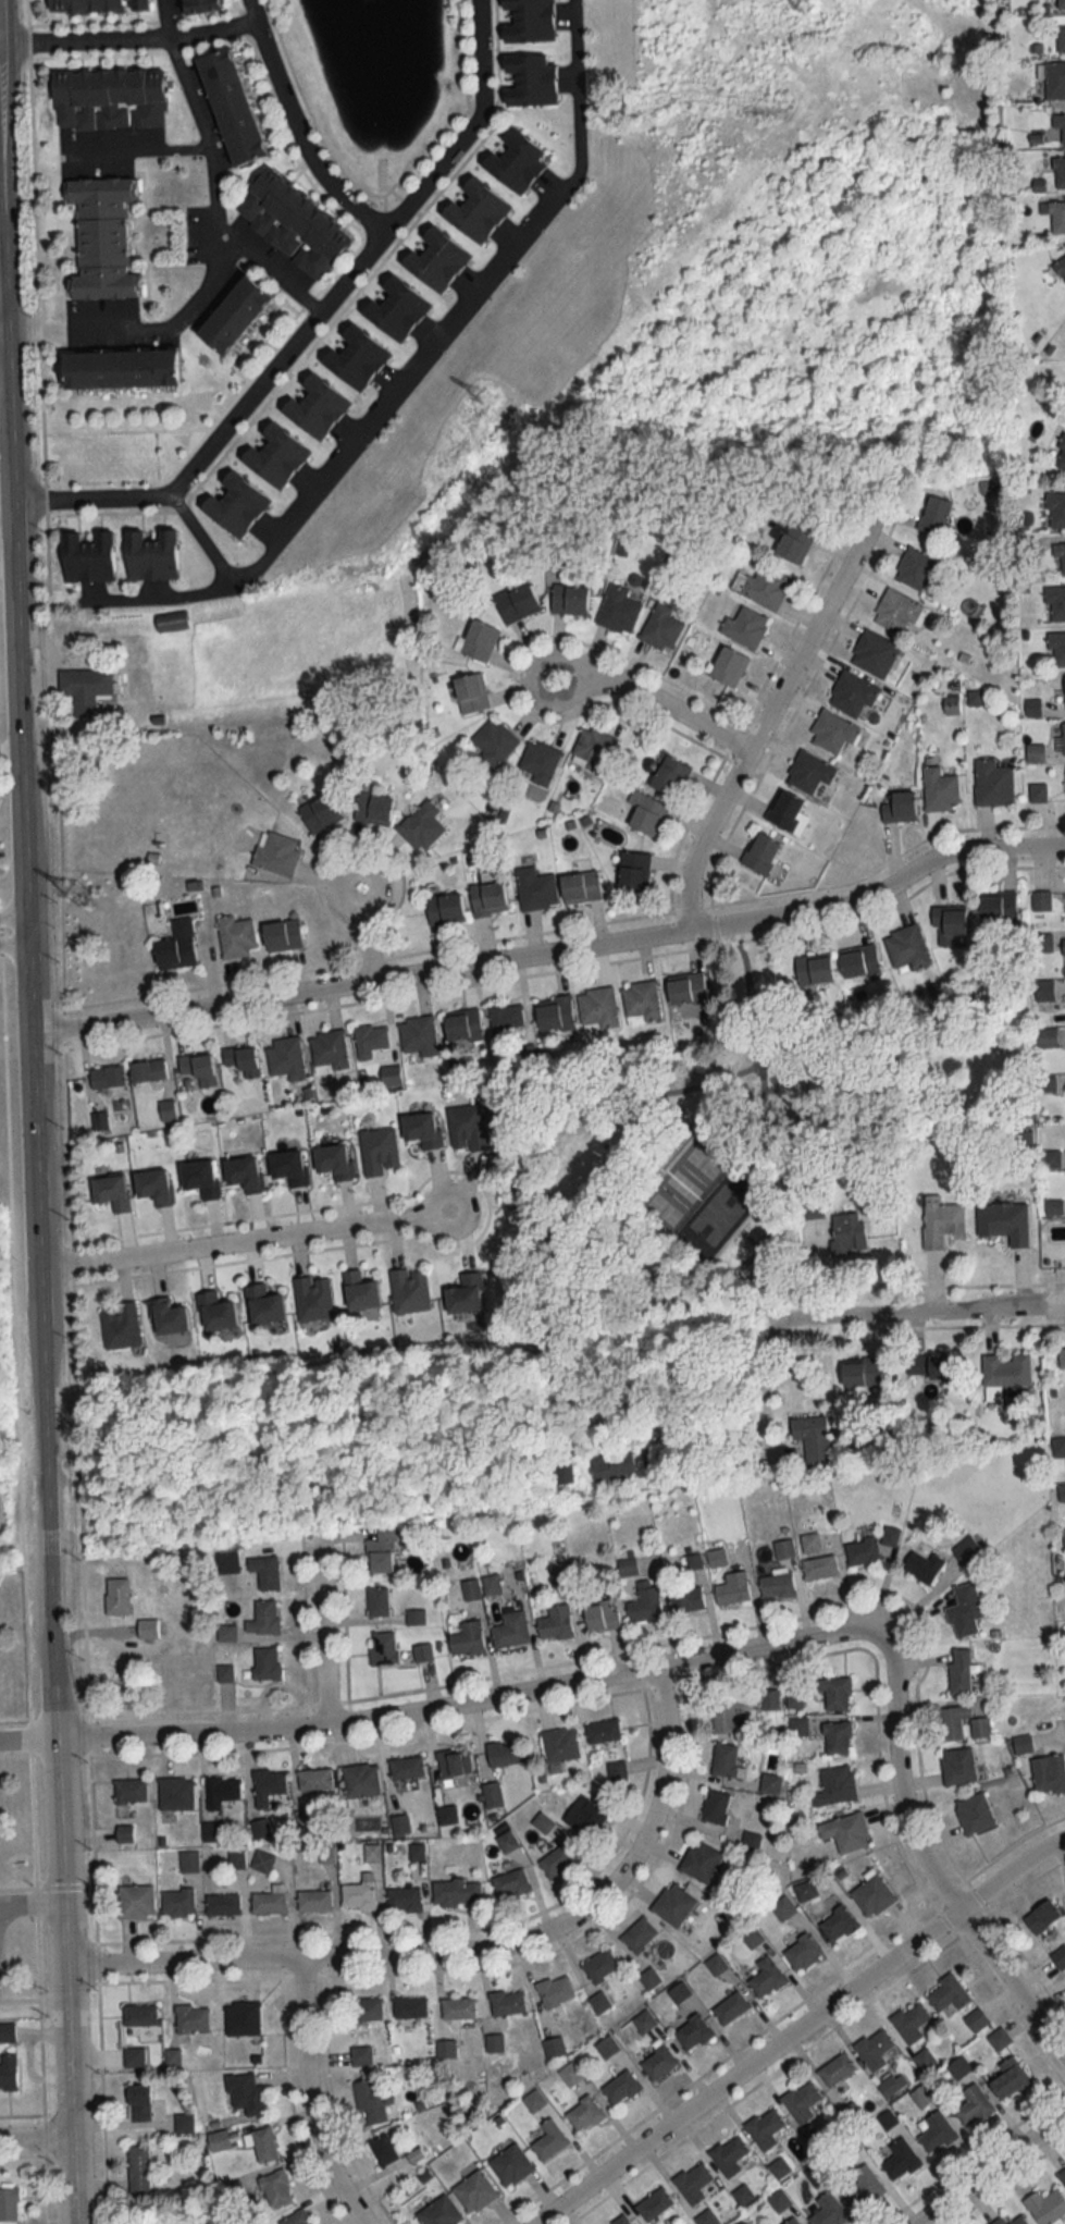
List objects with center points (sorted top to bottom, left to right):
building: (1061, 4)
building: (96, 5)
building: (199, 5)
power tower: (808, 9)
road: (168, 17)
building: (528, 21)
road: (131, 36)
building: (1061, 38)
building: (531, 81)
building: (1053, 81)
building: (109, 98)
building: (232, 107)
building: (1060, 124)
road: (301, 130)
road: (205, 133)
road: (140, 148)
building: (515, 158)
building: (1060, 171)
building: (475, 209)
building: (1057, 217)
building: (293, 222)
building: (101, 236)
building: (435, 257)
building: (1061, 267)
road: (270, 272)
building: (395, 307)
road: (2, 308)
building: (233, 312)
road: (313, 319)
road: (175, 321)
building: (354, 356)
building: (120, 366)
road: (413, 371)
power tower: (485, 400)
building: (313, 404)
building: (274, 453)
building: (1060, 455)
building: (234, 503)
building: (1055, 509)
building: (933, 514)
road: (203, 537)
building: (793, 541)
building: (150, 554)
building: (87, 556)
building: (1060, 560)
building: (916, 569)
building: (764, 586)
building: (568, 598)
building: (516, 601)
building: (1056, 603)
building: (617, 609)
building: (897, 611)
building: (744, 626)
building: (660, 627)
building: (478, 639)
building: (1057, 648)
building: (874, 653)
building: (728, 666)
road: (594, 672)
building: (85, 687)
building: (470, 691)
building: (852, 693)
road: (767, 718)
building: (832, 730)
building: (1063, 737)
building: (494, 742)
building: (592, 749)
building: (540, 761)
building: (808, 772)
building: (669, 776)
building: (992, 783)
building: (939, 789)
building: (373, 807)
building: (899, 807)
building: (320, 812)
building: (787, 812)
building: (645, 813)
building: (421, 825)
building: (276, 853)
building: (759, 853)
building: (633, 870)
road: (383, 878)
building: (580, 886)
building: (535, 889)
power tower: (81, 894)
building: (487, 898)
building: (1040, 899)
building: (998, 905)
building: (444, 908)
road: (14, 922)
building: (949, 925)
building: (282, 934)
building: (235, 935)
building: (176, 945)
building: (1063, 946)
building: (906, 948)
road: (555, 949)
building: (859, 960)
building: (813, 969)
building: (685, 987)
building: (641, 1002)
building: (597, 1008)
building: (555, 1013)
building: (505, 1018)
building: (462, 1025)
building: (417, 1034)
building: (370, 1040)
building: (329, 1050)
building: (286, 1057)
building: (242, 1059)
building: (198, 1067)
building: (147, 1069)
building: (389, 1074)
building: (107, 1076)
building: (467, 1125)
building: (422, 1126)
building: (381, 1146)
park: (739, 1147)
building: (334, 1157)
building: (287, 1165)
building: (244, 1170)
building: (201, 1177)
building: (152, 1183)
building: (111, 1190)
road: (39, 1191)
building: (812, 1209)
building: (939, 1220)
building: (1004, 1221)
road: (296, 1231)
building: (847, 1232)
building: (360, 1287)
building: (408, 1288)
building: (465, 1289)
building: (312, 1293)
building: (260, 1302)
building: (214, 1307)
road: (917, 1311)
building: (165, 1313)
building: (119, 1324)
building: (1061, 1357)
road: (333, 1361)
building: (930, 1366)
building: (1005, 1371)
building: (860, 1373)
road: (767, 1401)
building: (809, 1439)
building: (612, 1465)
building: (564, 1475)
building: (890, 1537)
building: (1064, 1537)
building: (809, 1543)
building: (783, 1549)
building: (382, 1550)
building: (967, 1550)
building: (862, 1552)
building: (819, 1566)
building: (924, 1566)
building: (265, 1571)
building: (491, 1584)
building: (777, 1585)
road: (24, 1587)
building: (471, 1589)
building: (732, 1589)
building: (117, 1596)
building: (686, 1598)
building: (377, 1601)
building: (645, 1605)
building: (966, 1610)
building: (602, 1617)
building: (263, 1618)
building: (414, 1618)
building: (555, 1623)
building: (147, 1629)
building: (510, 1630)
road: (322, 1635)
building: (467, 1639)
building: (383, 1648)
building: (422, 1652)
building: (265, 1663)
building: (959, 1670)
building: (834, 1693)
building: (794, 1697)
building: (769, 1699)
road: (469, 1700)
building: (726, 1715)
building: (953, 1722)
building: (980, 1728)
building: (603, 1731)
road: (29, 1736)
building: (837, 1740)
building: (560, 1745)
building: (504, 1753)
building: (726, 1761)
building: (455, 1762)
building: (957, 1766)
building: (406, 1768)
building: (1049, 1774)
building: (314, 1780)
building: (360, 1780)
building: (770, 1784)
building: (268, 1786)
building: (835, 1786)
building: (129, 1791)
building: (221, 1792)
building: (176, 1794)
building: (492, 1795)
building: (715, 1807)
building: (587, 1813)
building: (974, 1814)
building: (447, 1815)
building: (845, 1832)
building: (124, 1833)
building: (507, 1842)
building: (326, 1855)
building: (557, 1860)
building: (188, 1861)
building: (699, 1861)
building: (262, 1863)
road: (927, 1863)
building: (510, 1883)
building: (457, 1892)
building: (359, 1894)
building: (871, 1895)
building: (404, 1900)
building: (136, 1901)
building: (313, 1901)
building: (269, 1902)
road: (34, 1903)
building: (177, 1903)
building: (223, 1904)
building: (672, 1904)
road: (1, 1906)
building: (1041, 1917)
building: (837, 1924)
building: (639, 1934)
road: (462, 1949)
building: (802, 1952)
building: (1058, 1957)
building: (599, 1966)
building: (766, 1977)
building: (649, 1978)
building: (556, 1990)
building: (679, 1992)
building: (948, 1994)
building: (506, 2003)
building: (598, 2003)
building: (409, 2007)
building: (730, 2007)
building: (458, 2008)
building: (366, 2010)
building: (139, 2015)
building: (191, 2018)
building: (242, 2018)
building: (976, 2020)
building: (644, 2022)
building: (911, 2023)
road: (791, 2028)
building: (5, 2032)
building: (692, 2032)
building: (999, 2039)
building: (494, 2043)
building: (554, 2049)
building: (875, 2049)
building: (606, 2050)
building: (361, 2056)
building: (134, 2057)
building: (658, 2063)
building: (837, 2069)
building: (8, 2072)
building: (570, 2075)
building: (1010, 2079)
building: (620, 2088)
building: (246, 2094)
road: (307, 2098)
building: (802, 2101)
building: (370, 2102)
building: (139, 2103)
building: (971, 2108)
building: (583, 2115)
building: (184, 2124)
building: (765, 2128)
building: (937, 2133)
road: (37, 2138)
building: (219, 2141)
building: (263, 2146)
building: (383, 2150)
building: (729, 2155)
building: (900, 2159)
building: (510, 2165)
road: (989, 2167)
building: (138, 2170)
building: (1062, 2176)
building: (693, 2182)
building: (863, 2187)
building: (275, 2188)
building: (474, 2191)
building: (743, 2195)
building: (779, 2201)
building: (654, 2203)
building: (9, 2204)
building: (1047, 2207)
building: (828, 2211)
building: (439, 2213)
building: (298, 2217)
building: (706, 2217)
building: (621, 2221)
building: (792, 2221)
building: (1019, 2221)
building: (999, 2222)

